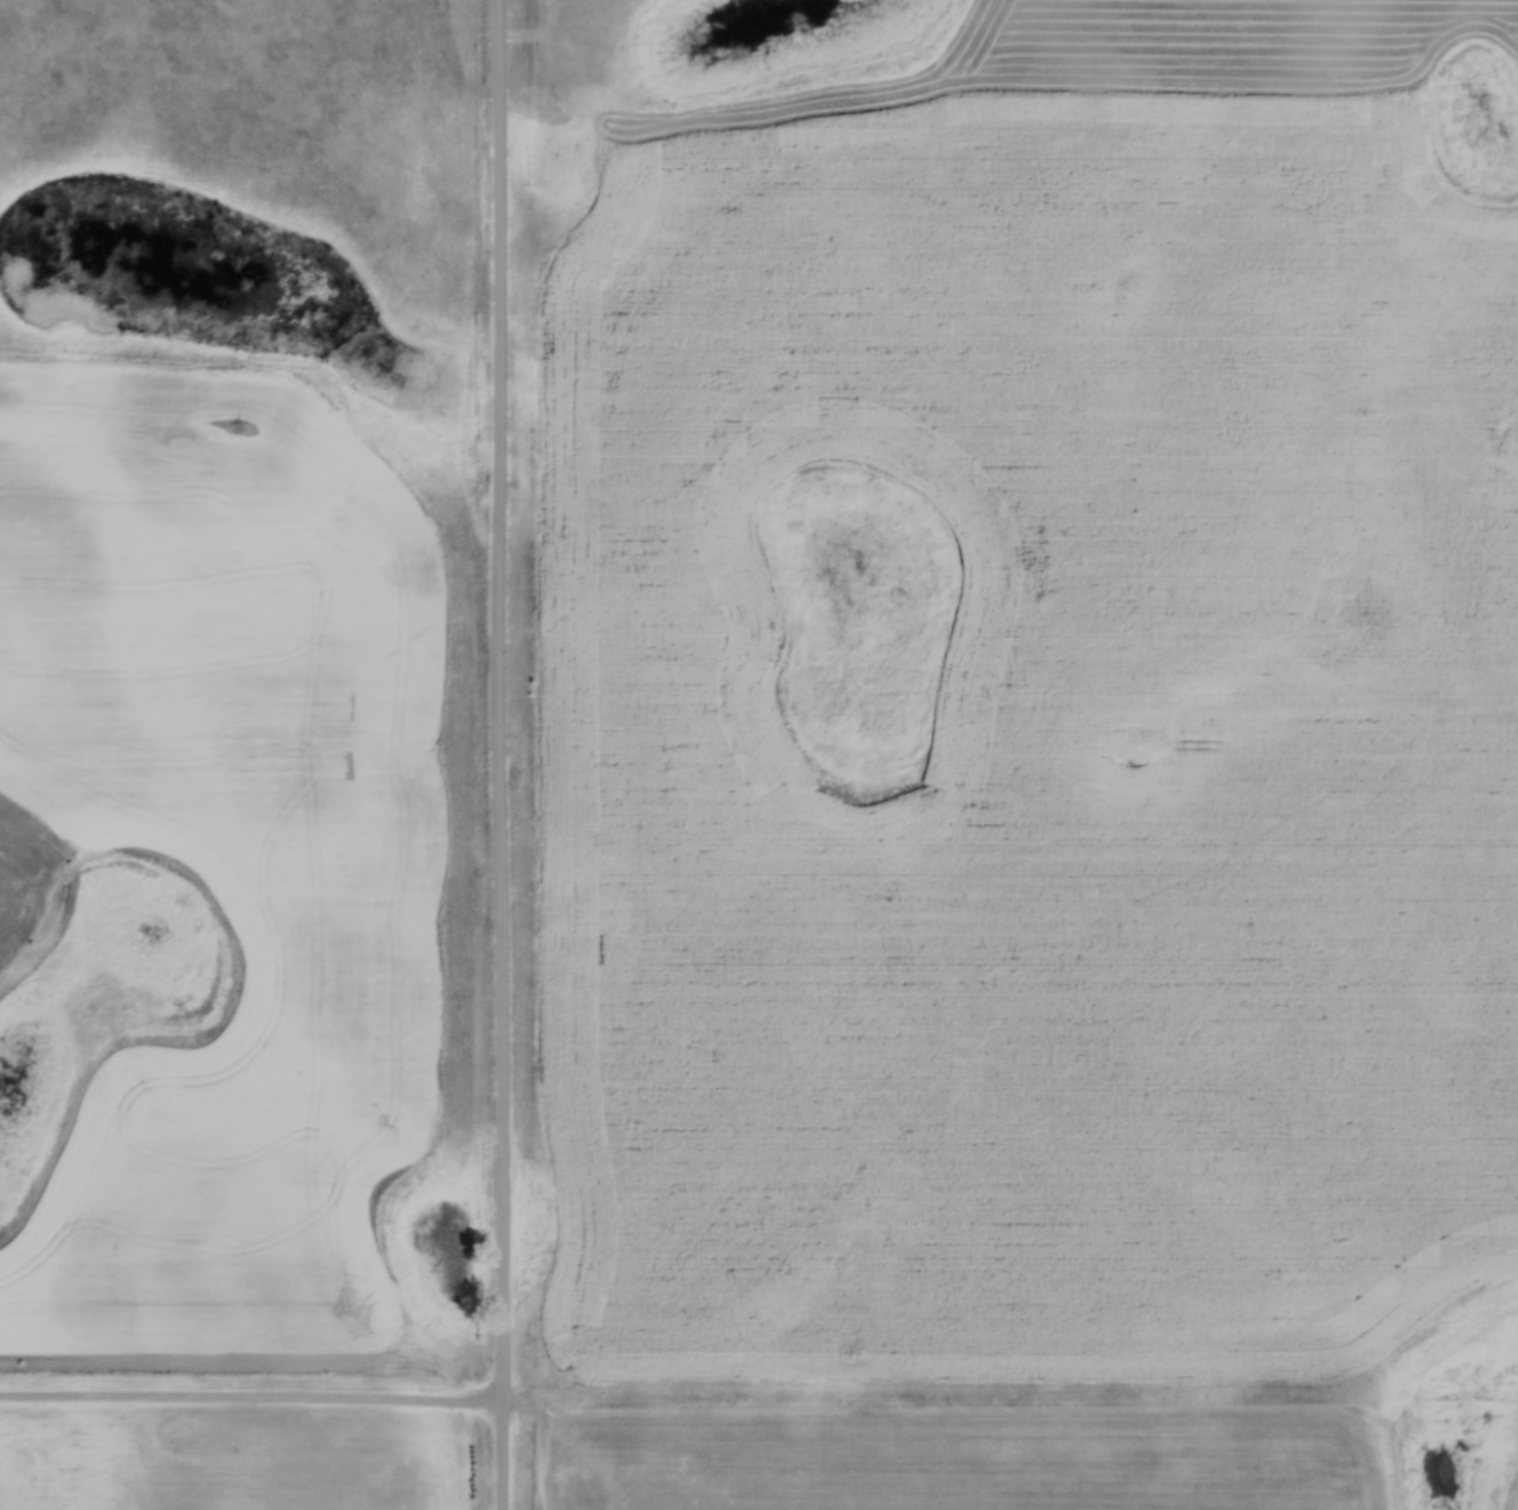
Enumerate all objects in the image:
road: (498, 755)
road: (249, 1405)

